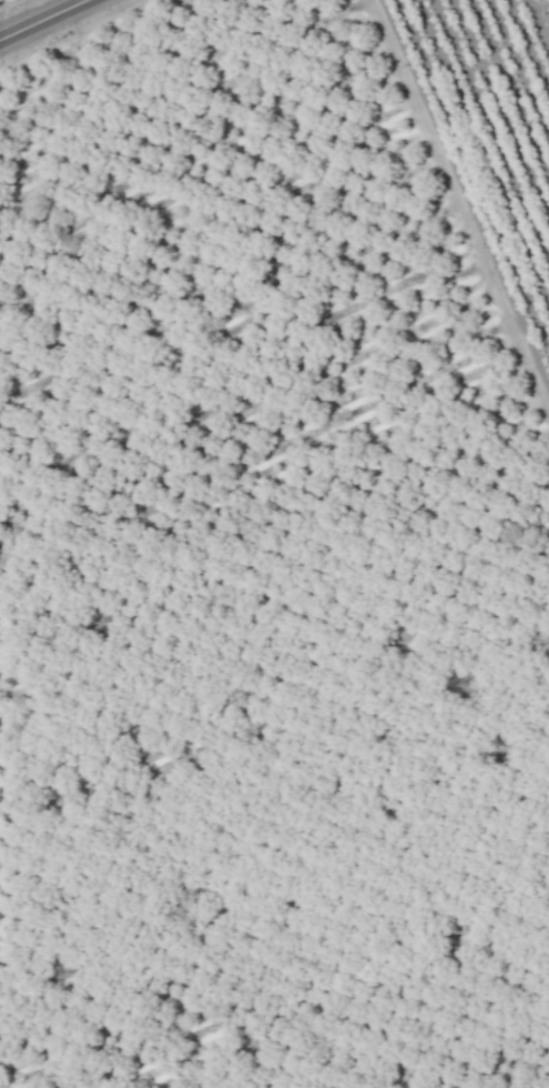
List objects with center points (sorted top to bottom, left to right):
road: (41, 19)

